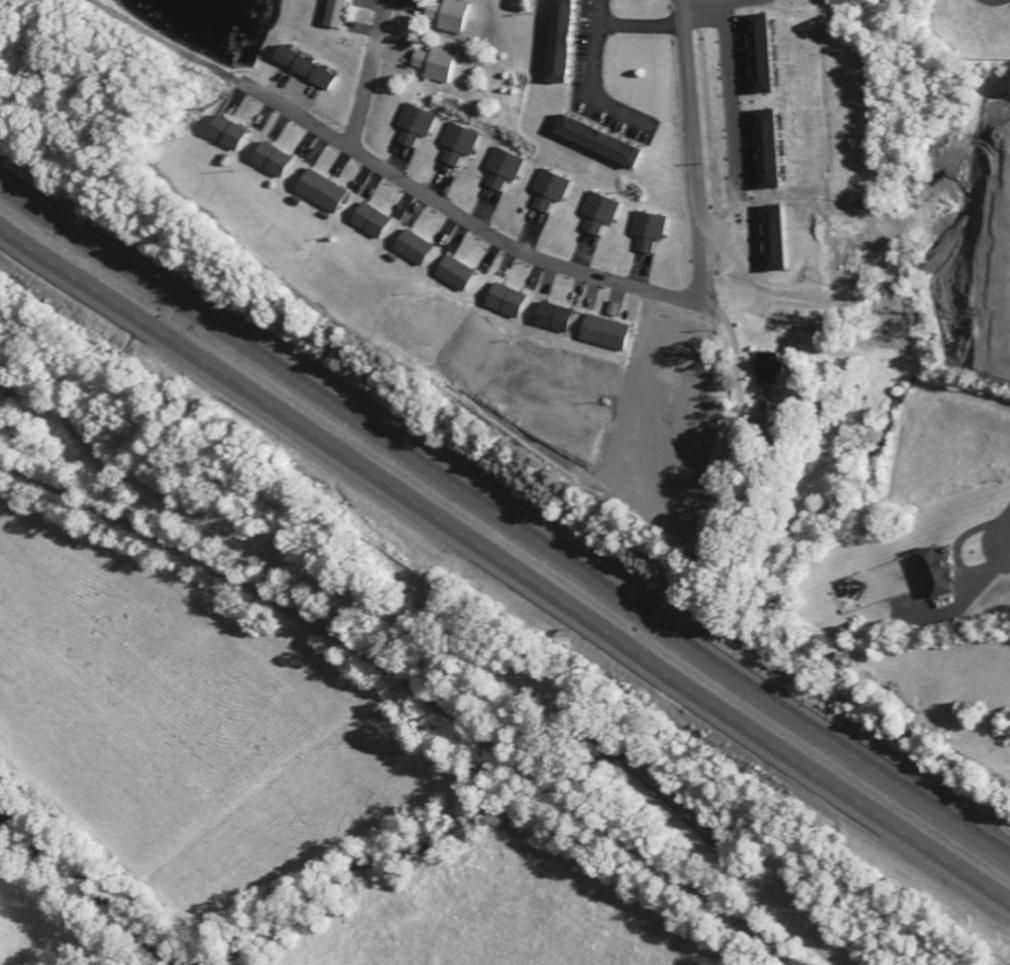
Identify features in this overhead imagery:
building: (336, 14)
building: (449, 18)
building: (565, 42)
road: (169, 43)
building: (767, 56)
building: (436, 67)
building: (306, 70)
road: (369, 74)
building: (414, 127)
building: (228, 136)
building: (603, 143)
building: (458, 146)
road: (695, 152)
building: (773, 152)
building: (273, 162)
building: (503, 171)
building: (550, 192)
building: (322, 194)
building: (770, 214)
building: (599, 215)
road: (464, 219)
building: (372, 224)
building: (647, 233)
building: (415, 251)
building: (457, 276)
building: (507, 304)
building: (612, 312)
building: (557, 320)
building: (608, 336)
building: (773, 372)
road: (505, 517)
road: (505, 564)
building: (939, 575)
park: (983, 683)
road: (411, 687)

